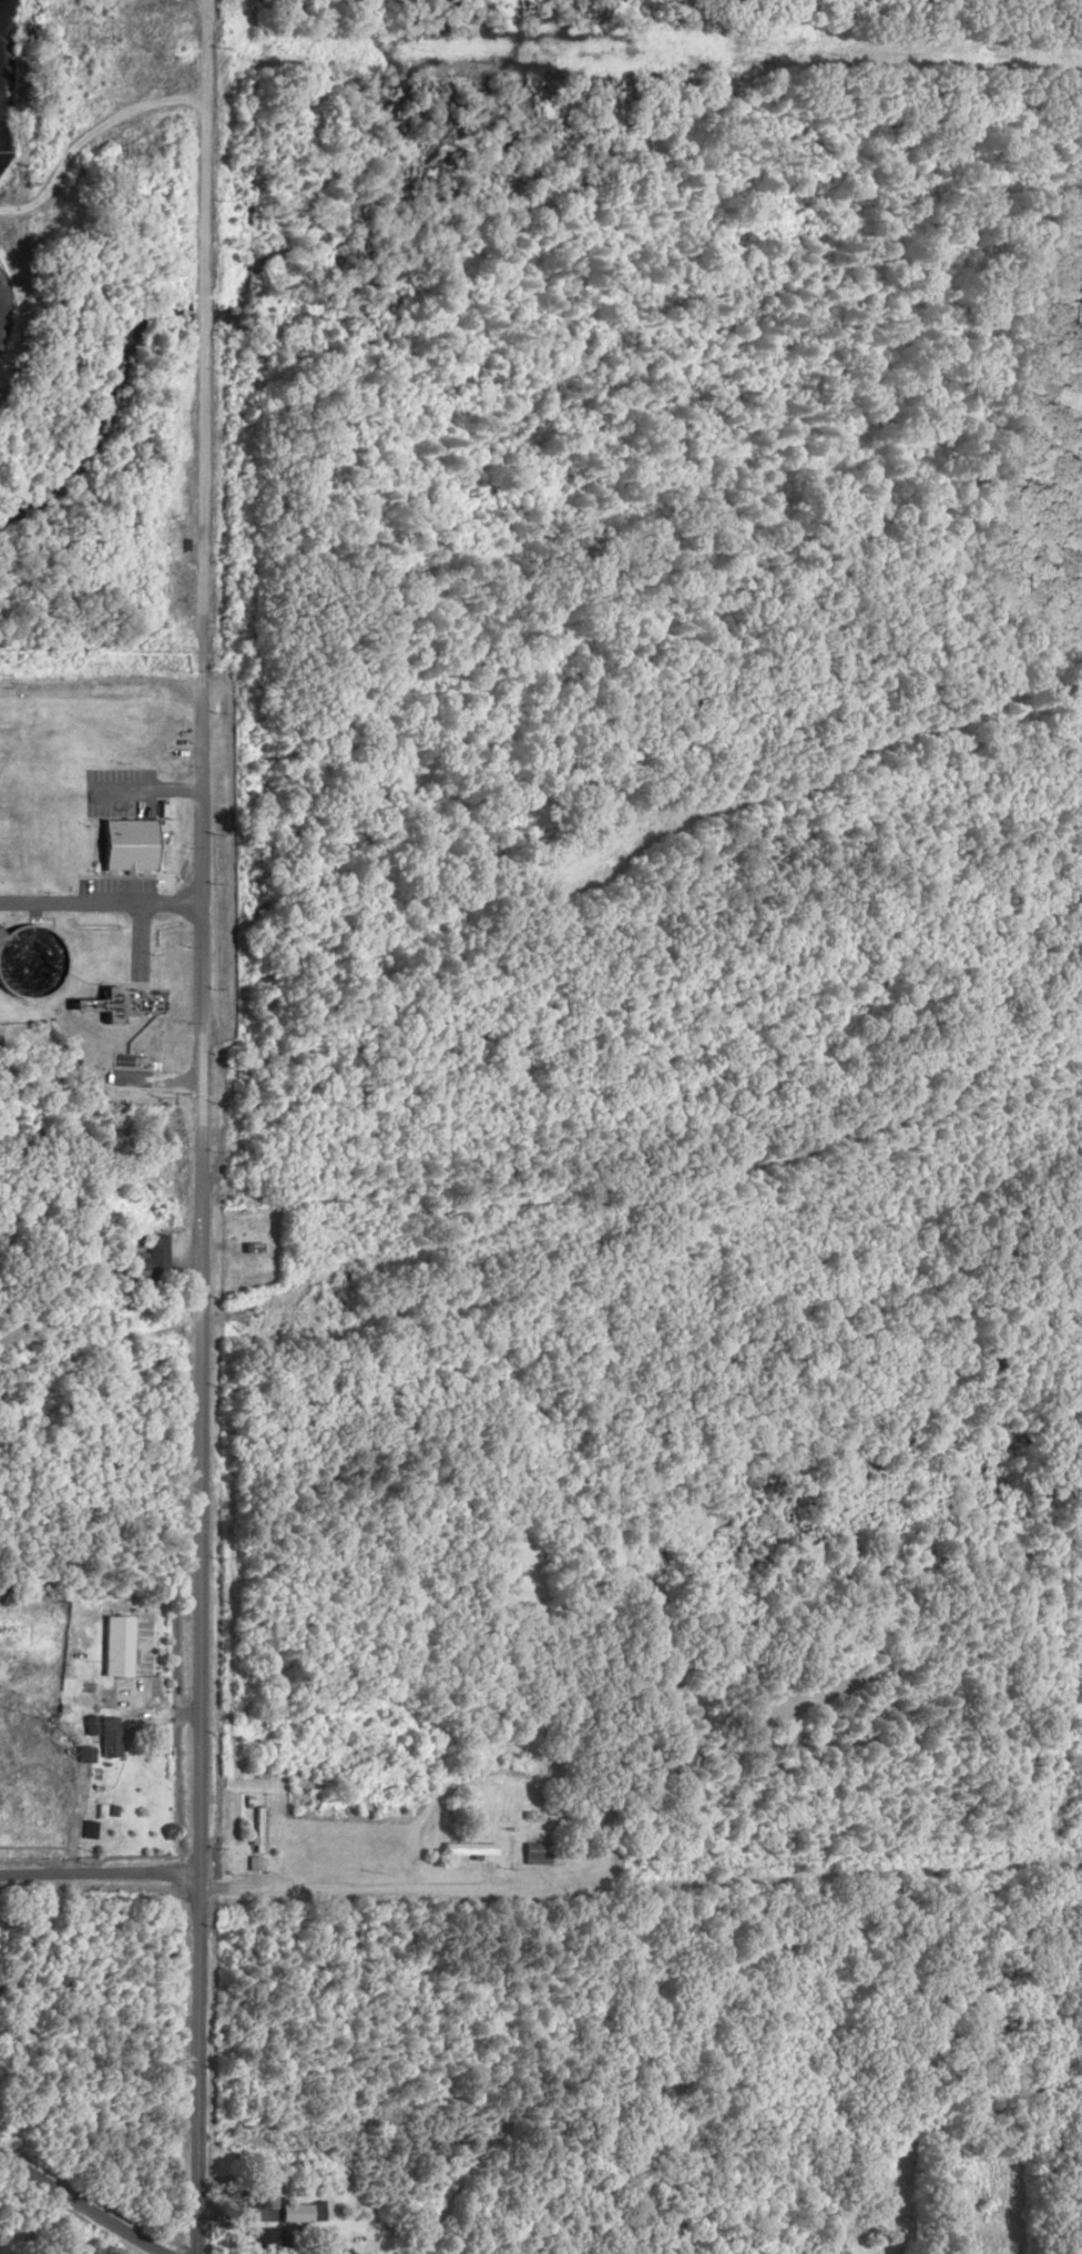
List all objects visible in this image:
wastewater plant: (92, 840)
road: (99, 891)
building: (118, 938)
building: (101, 965)
road: (200, 1126)
road: (705, 1179)
building: (141, 1258)
road: (166, 1329)
building: (115, 1646)
building: (108, 1737)
building: (681, 1756)
building: (257, 1830)
building: (466, 1849)
building: (534, 1854)
road: (1065, 1860)
road: (98, 1871)
road: (797, 1880)
road: (370, 1888)
road: (83, 2204)
building: (299, 2213)
building: (258, 2238)

